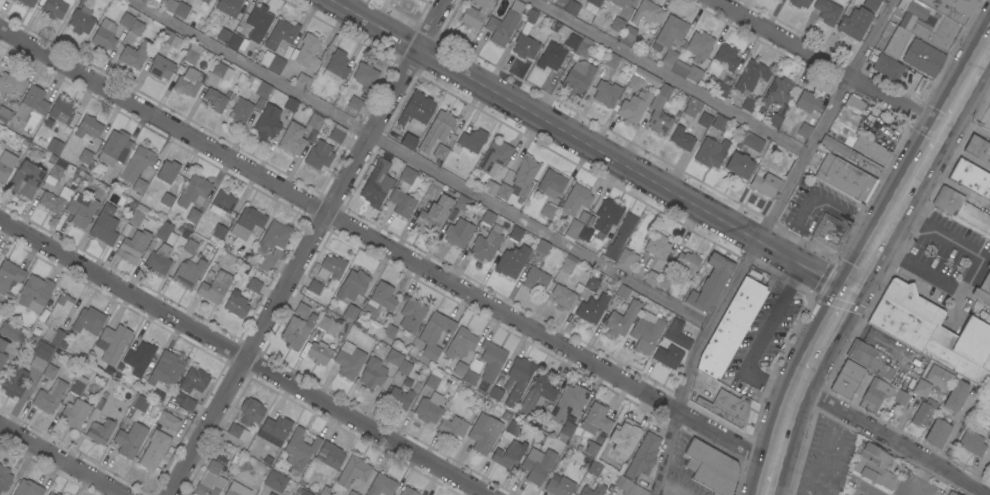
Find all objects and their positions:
building: (143, 0)
building: (420, 0)
building: (156, 1)
building: (205, 1)
building: (548, 1)
building: (562, 1)
building: (27, 2)
building: (594, 2)
building: (621, 2)
building: (799, 3)
building: (871, 4)
building: (170, 5)
building: (229, 7)
building: (571, 7)
building: (56, 8)
building: (951, 8)
building: (916, 10)
building: (182, 11)
building: (827, 11)
building: (647, 12)
building: (475, 13)
building: (531, 16)
building: (81, 21)
building: (126, 21)
building: (258, 23)
building: (854, 23)
building: (617, 24)
building: (502, 27)
building: (459, 33)
building: (938, 33)
building: (104, 34)
building: (224, 35)
building: (281, 35)
building: (627, 36)
building: (170, 39)
building: (572, 40)
building: (234, 42)
building: (896, 42)
building: (699, 46)
building: (143, 47)
building: (525, 47)
building: (306, 50)
building: (670, 51)
building: (193, 53)
building: (551, 57)
building: (726, 57)
building: (923, 58)
building: (611, 61)
building: (276, 64)
building: (885, 65)
road: (826, 66)
building: (160, 67)
road: (253, 67)
building: (336, 67)
building: (221, 71)
building: (365, 75)
road: (673, 77)
building: (642, 78)
building: (578, 79)
building: (302, 81)
building: (189, 82)
building: (10, 83)
building: (751, 83)
road: (967, 89)
building: (721, 90)
building: (606, 93)
building: (776, 93)
building: (214, 100)
building: (241, 100)
building: (807, 102)
building: (31, 103)
building: (354, 103)
building: (291, 104)
building: (854, 104)
building: (633, 107)
building: (692, 107)
building: (416, 109)
building: (62, 111)
building: (660, 111)
building: (4, 114)
building: (704, 120)
building: (774, 120)
building: (315, 121)
building: (267, 122)
building: (720, 123)
building: (88, 127)
building: (440, 127)
building: (804, 131)
building: (335, 133)
building: (410, 135)
building: (292, 139)
building: (682, 139)
building: (748, 141)
building: (469, 142)
building: (54, 146)
road: (592, 146)
building: (115, 148)
building: (870, 149)
building: (978, 149)
building: (440, 152)
building: (711, 152)
road: (932, 152)
building: (319, 155)
building: (850, 155)
building: (495, 156)
building: (86, 158)
building: (7, 164)
building: (137, 164)
building: (739, 165)
building: (55, 170)
building: (167, 171)
building: (525, 176)
building: (845, 178)
building: (971, 178)
building: (26, 180)
building: (551, 183)
building: (764, 183)
building: (377, 184)
building: (139, 186)
building: (491, 188)
building: (433, 190)
building: (194, 191)
building: (503, 191)
building: (403, 193)
road: (822, 198)
building: (166, 199)
building: (55, 200)
building: (575, 200)
building: (222, 203)
building: (461, 203)
building: (81, 209)
building: (961, 209)
building: (548, 210)
building: (193, 216)
building: (432, 216)
building: (139, 217)
building: (488, 218)
building: (606, 218)
building: (247, 223)
building: (105, 225)
building: (575, 226)
building: (625, 227)
road: (542, 231)
building: (219, 232)
building: (165, 233)
building: (458, 233)
building: (585, 233)
building: (829, 233)
road: (886, 233)
building: (515, 234)
road: (760, 240)
building: (273, 243)
building: (486, 244)
road: (309, 246)
road: (387, 246)
building: (657, 246)
building: (132, 247)
building: (190, 247)
building: (542, 247)
building: (611, 252)
building: (159, 259)
building: (512, 261)
building: (626, 261)
building: (688, 262)
building: (568, 264)
building: (331, 267)
road: (968, 271)
building: (189, 273)
building: (10, 277)
building: (651, 278)
building: (535, 280)
building: (664, 281)
building: (710, 283)
building: (592, 284)
building: (254, 285)
building: (352, 285)
building: (215, 287)
building: (314, 287)
building: (983, 289)
building: (623, 292)
building: (35, 293)
traffic signals: (853, 293)
building: (562, 296)
building: (379, 300)
building: (236, 305)
building: (592, 308)
building: (57, 309)
building: (302, 310)
building: (351, 314)
building: (411, 314)
building: (622, 319)
building: (89, 321)
road: (837, 321)
building: (327, 325)
building: (731, 327)
building: (9, 331)
building: (390, 331)
building: (296, 332)
building: (646, 332)
building: (933, 332)
building: (434, 335)
building: (677, 335)
building: (58, 340)
road: (759, 342)
building: (461, 343)
building: (112, 344)
building: (319, 352)
building: (2, 353)
building: (40, 356)
road: (241, 356)
building: (668, 356)
building: (139, 358)
building: (394, 358)
building: (869, 359)
building: (349, 360)
building: (490, 364)
building: (404, 367)
road: (810, 367)
building: (50, 369)
building: (166, 369)
building: (460, 369)
building: (372, 374)
building: (939, 377)
building: (470, 378)
building: (518, 379)
building: (846, 379)
building: (194, 380)
building: (14, 382)
building: (431, 382)
building: (78, 385)
building: (922, 388)
building: (496, 393)
building: (538, 395)
building: (874, 395)
building: (956, 396)
building: (50, 397)
building: (400, 398)
building: (900, 398)
building: (140, 403)
building: (568, 403)
building: (188, 404)
building: (986, 404)
building: (727, 408)
building: (428, 409)
building: (250, 412)
building: (923, 413)
building: (75, 414)
building: (573, 418)
building: (596, 419)
building: (980, 420)
building: (168, 421)
road: (785, 425)
building: (453, 427)
building: (513, 428)
building: (275, 430)
building: (567, 430)
building: (100, 431)
building: (237, 431)
building: (484, 433)
building: (937, 433)
building: (624, 436)
road: (894, 439)
building: (130, 440)
building: (972, 443)
building: (300, 448)
building: (592, 449)
building: (154, 450)
building: (508, 453)
building: (330, 455)
building: (642, 457)
road: (61, 460)
building: (537, 465)
building: (875, 466)
road: (980, 467)
building: (595, 468)
building: (711, 468)
building: (353, 472)
building: (4, 478)
road: (927, 479)
building: (211, 480)
road: (769, 480)
building: (275, 481)
building: (381, 485)
building: (559, 485)
building: (629, 487)
building: (28, 488)
building: (236, 489)
building: (593, 490)
building: (302, 491)
building: (408, 491)
building: (352, 493)
building: (951, 493)
building: (51, 494)
building: (57, 494)
building: (269, 494)
building: (270, 494)

